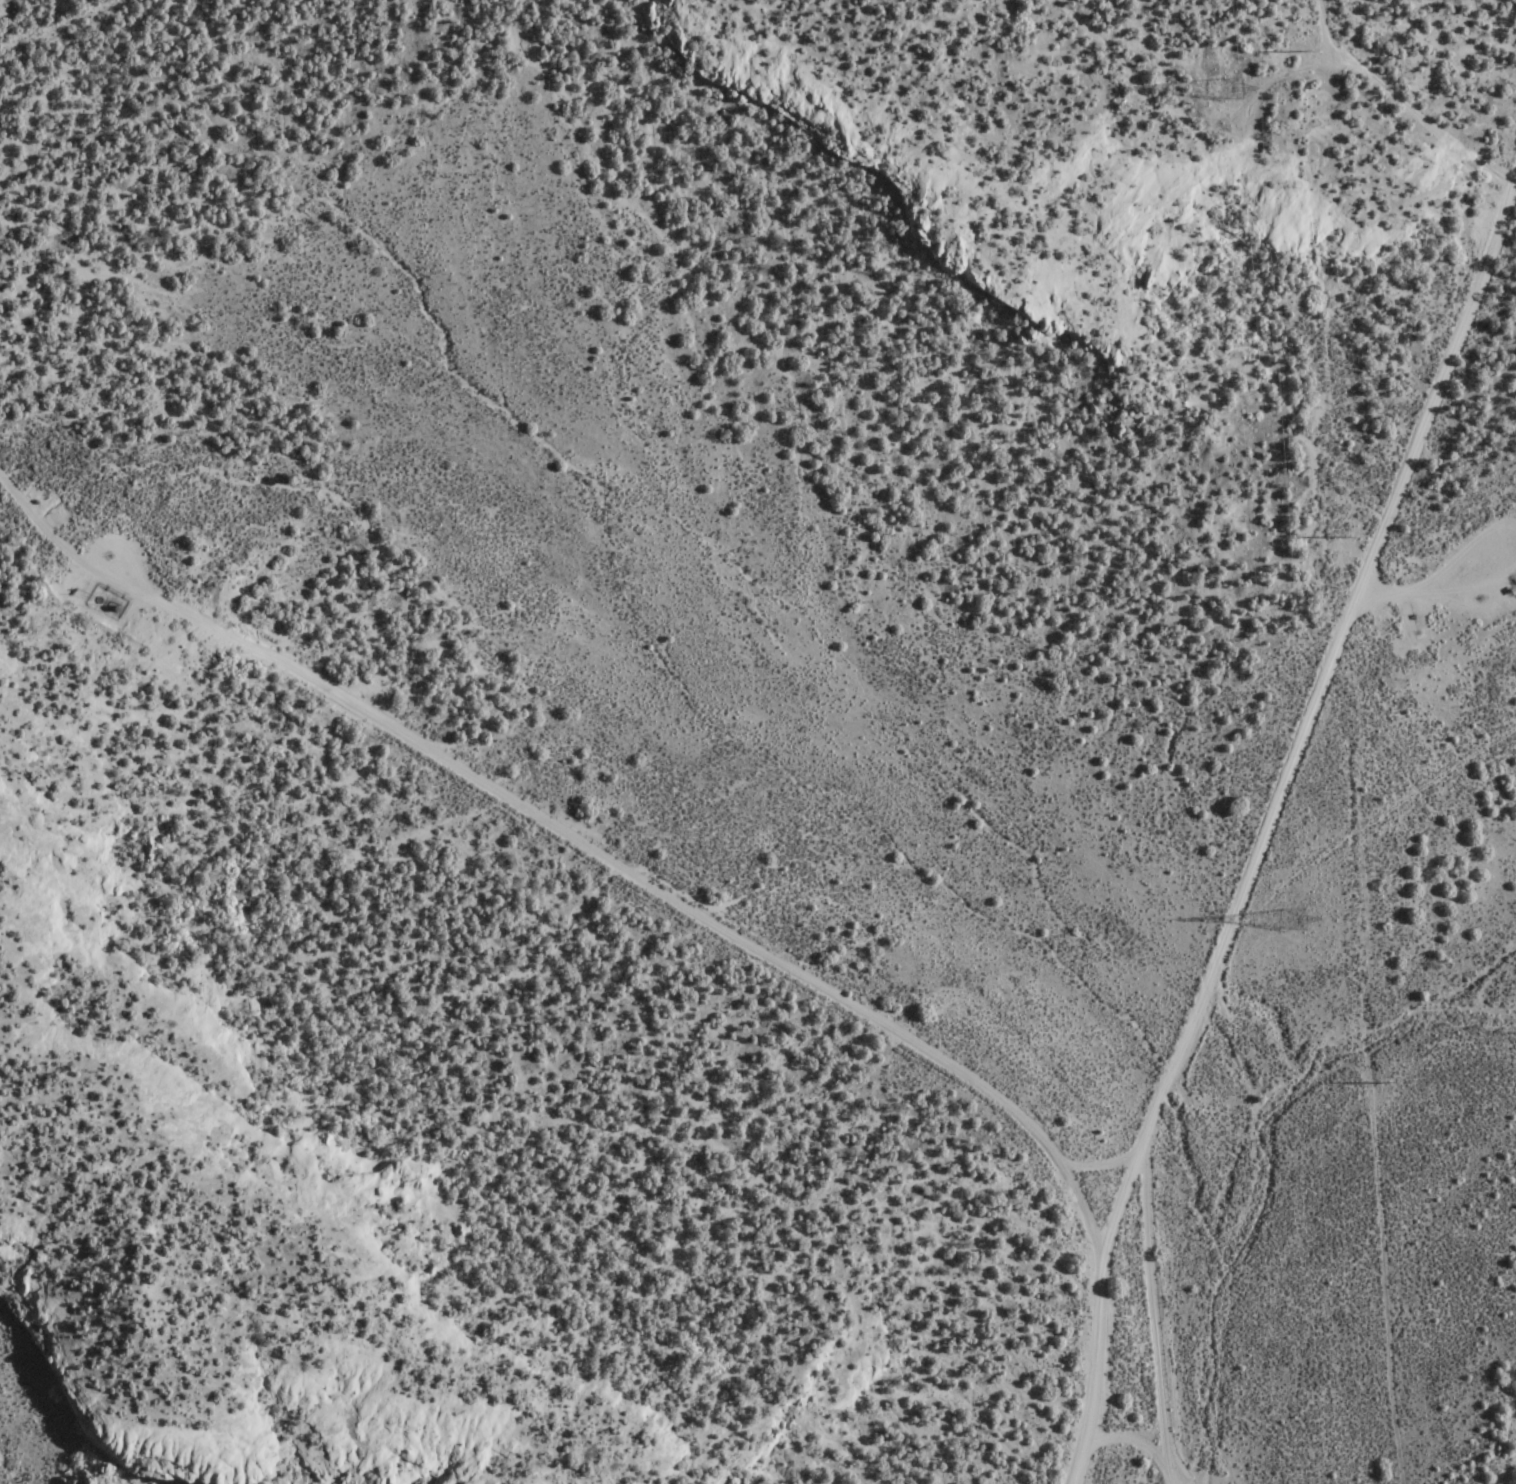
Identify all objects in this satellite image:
power tower: (1222, 91)
road: (1273, 836)
road: (693, 923)
power tower: (1292, 923)
river: (1281, 1082)
river: (1194, 1399)

